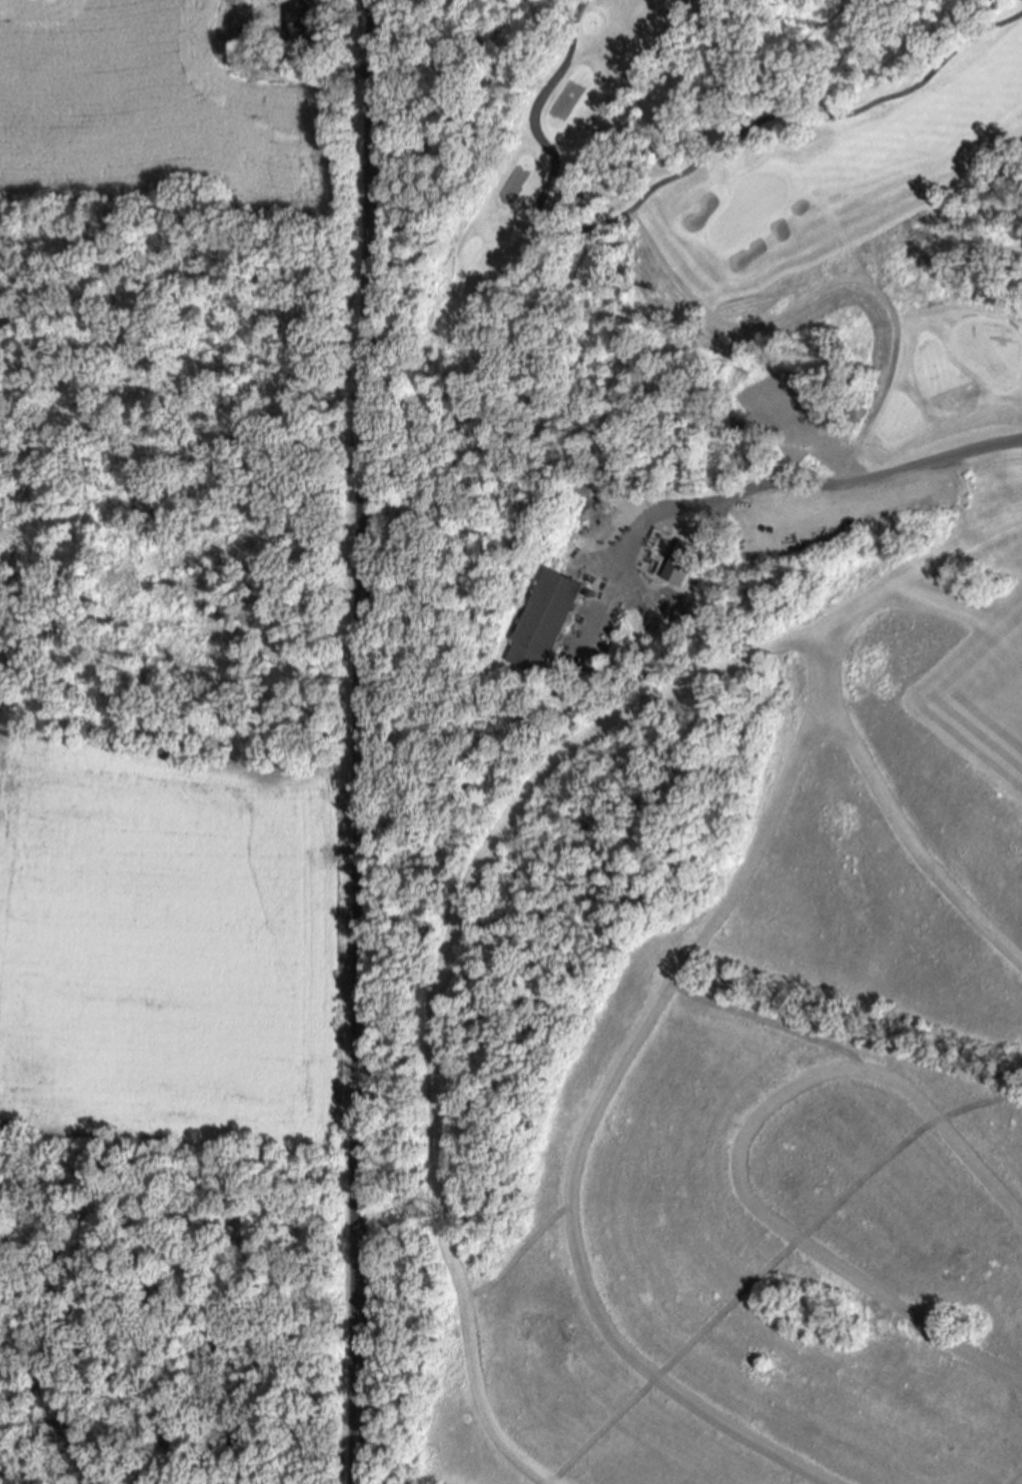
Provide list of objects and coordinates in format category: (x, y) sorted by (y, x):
building: (300, 18)
road: (665, 181)
road: (367, 208)
road: (592, 227)
road: (824, 288)
park: (672, 307)
road: (818, 484)
road: (987, 484)
road: (957, 544)
building: (682, 564)
road: (965, 607)
building: (544, 623)
park: (176, 671)
road: (891, 810)
road: (452, 931)
road: (356, 950)
track: (664, 989)
road: (766, 1020)
road: (589, 1120)
road: (734, 1149)
track: (775, 1222)
road: (517, 1247)
road: (771, 1262)
road: (1013, 1473)

